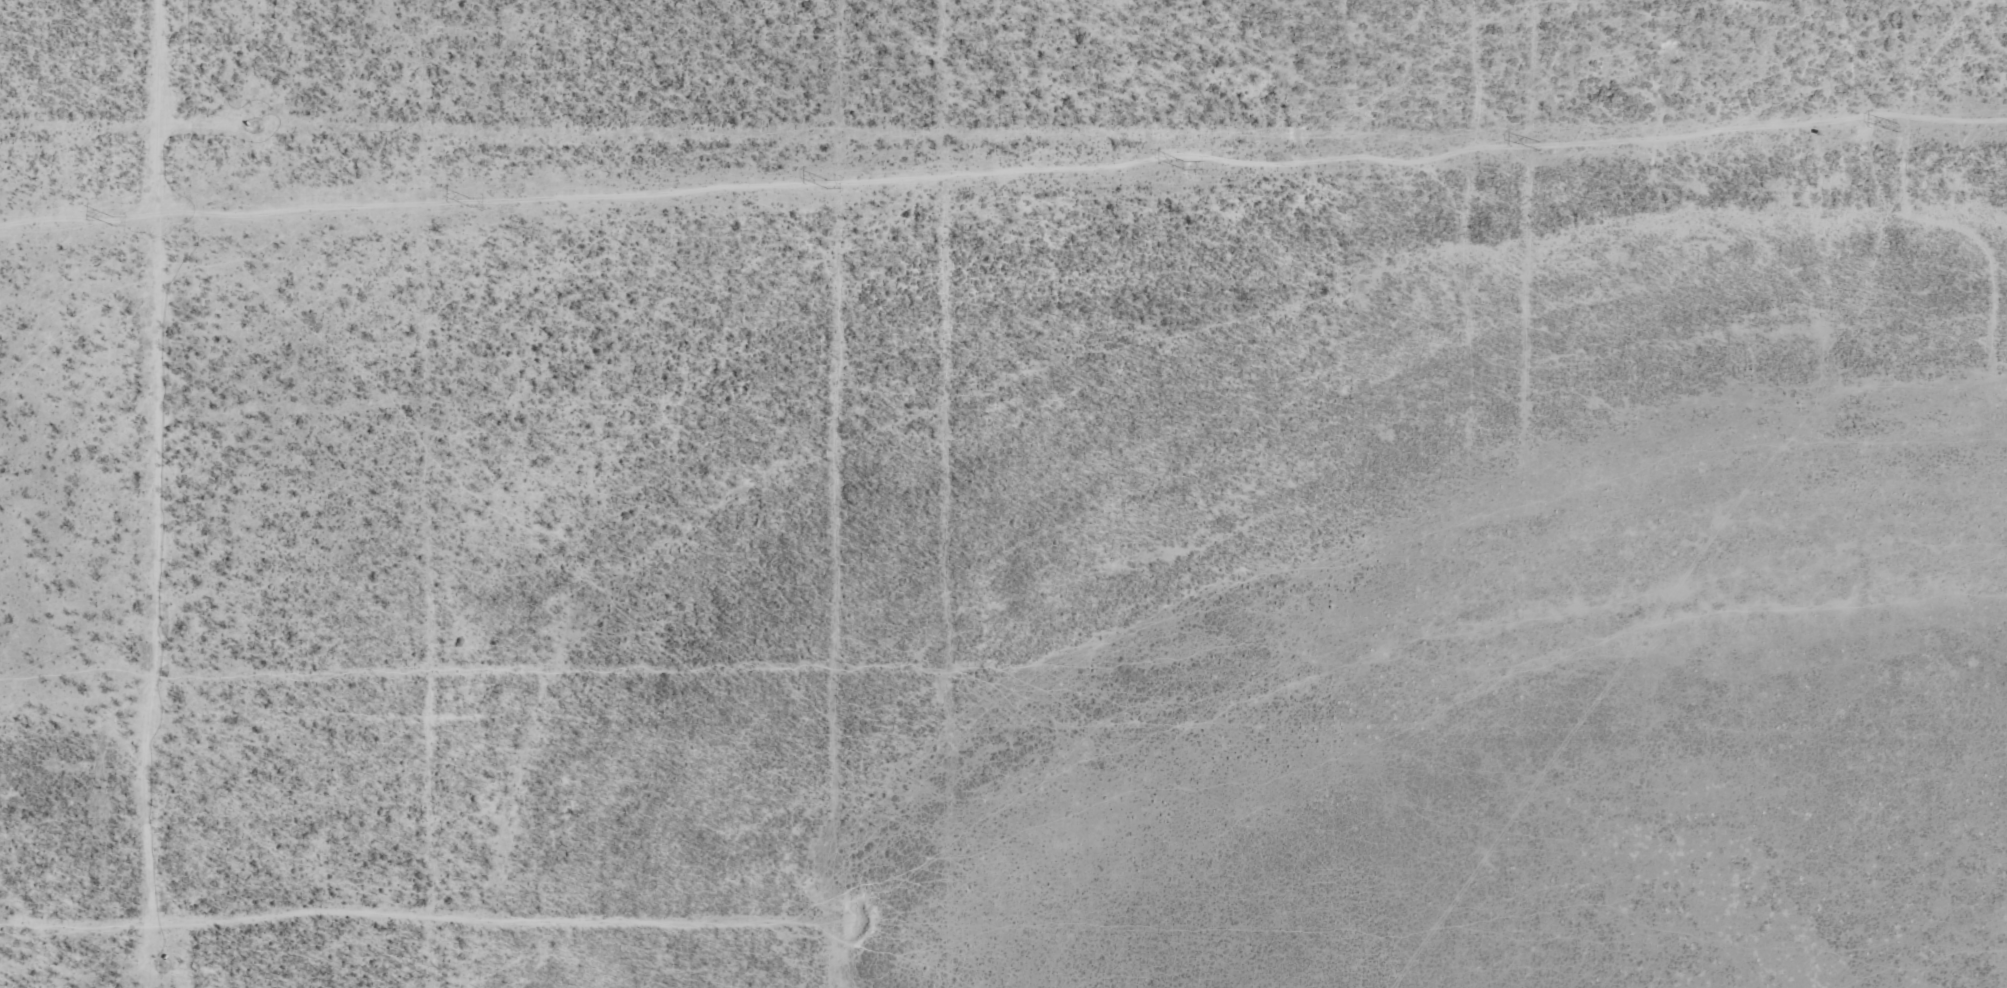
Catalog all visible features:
power tower: (1897, 127)
power tower: (1540, 146)
power tower: (1183, 165)
power tower: (827, 183)
power tower: (469, 202)
power tower: (112, 221)
road: (166, 473)

